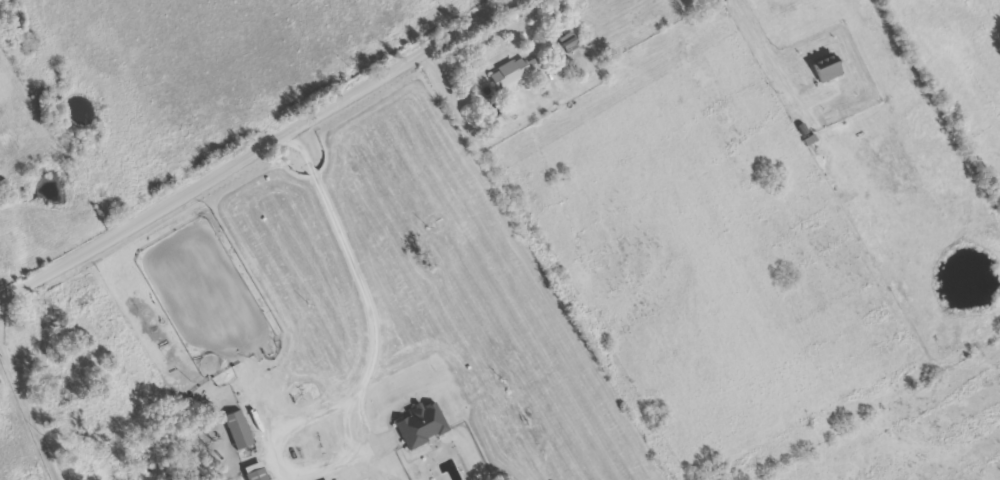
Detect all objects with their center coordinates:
building: (569, 40)
road: (765, 51)
building: (828, 66)
building: (513, 70)
road: (536, 102)
road: (250, 149)
road: (354, 256)
road: (552, 262)
road: (30, 411)
building: (420, 424)
building: (239, 428)
building: (255, 471)

